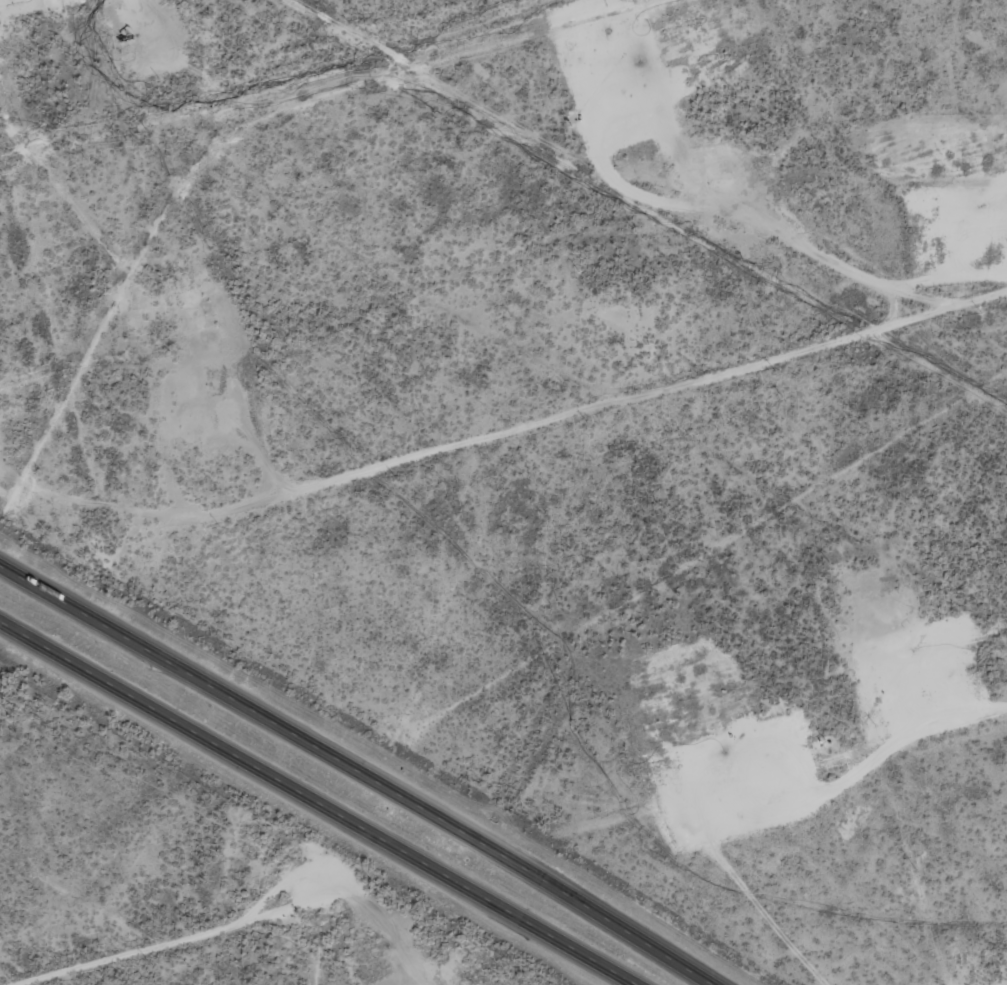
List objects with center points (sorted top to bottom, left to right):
road: (551, 483)
road: (354, 772)
road: (318, 803)
road: (770, 807)
road: (268, 931)

